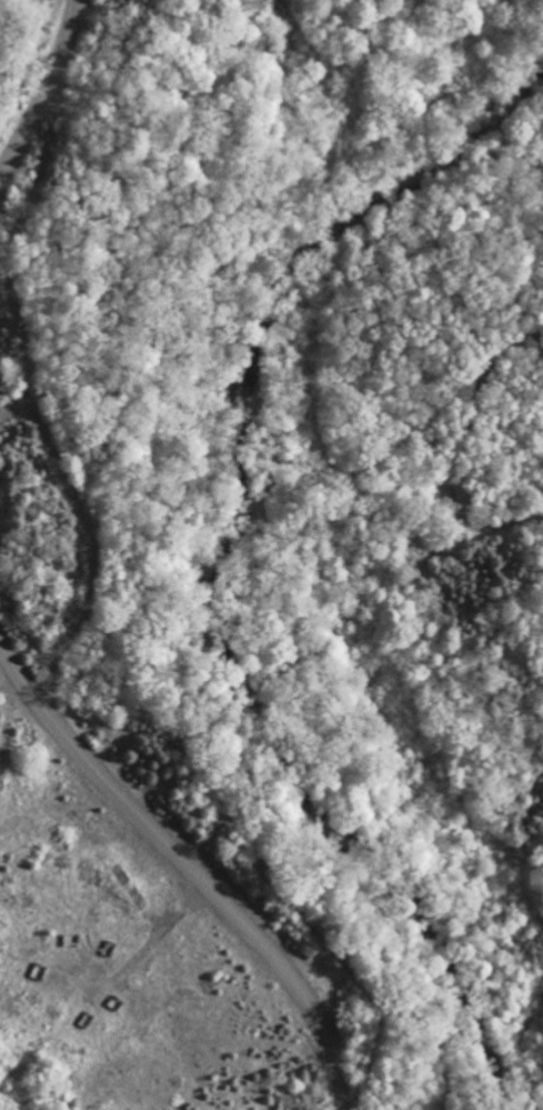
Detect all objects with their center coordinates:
road: (44, 92)
road: (491, 591)
road: (423, 759)
road: (188, 869)
road: (148, 944)

